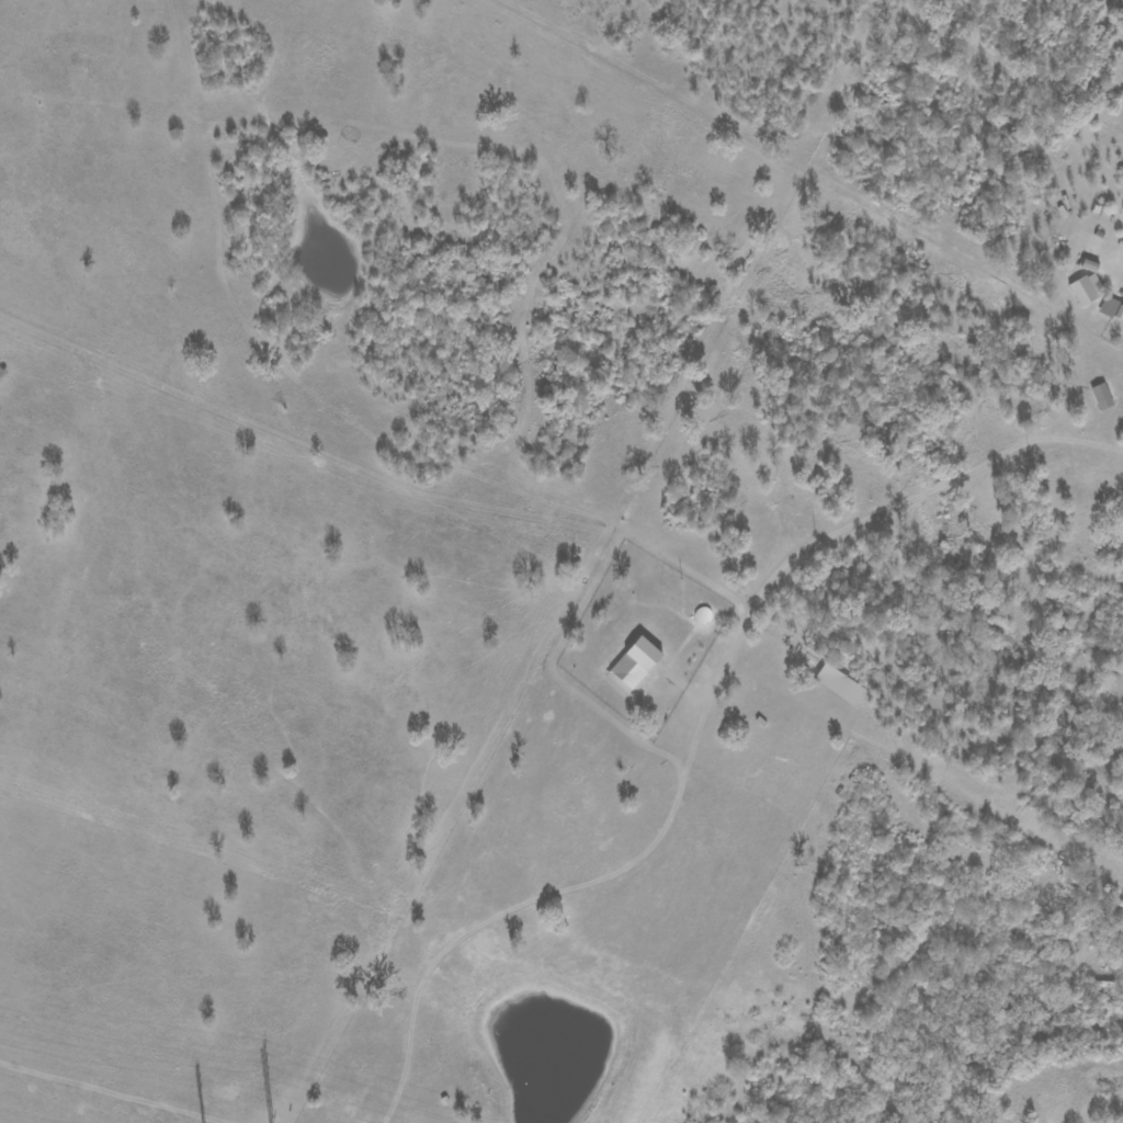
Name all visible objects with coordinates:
building: (1086, 288)
building: (1112, 308)
building: (1102, 396)
road: (287, 488)
building: (634, 665)
road: (706, 727)

